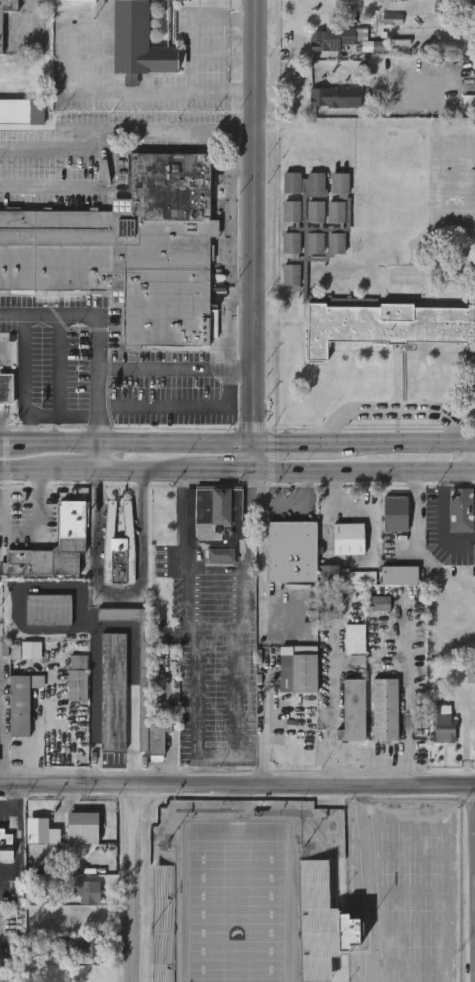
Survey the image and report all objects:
building: (78, 1)
building: (392, 19)
road: (209, 31)
building: (1, 32)
building: (336, 38)
building: (141, 42)
building: (375, 46)
road: (108, 95)
building: (323, 98)
building: (23, 112)
road: (126, 130)
road: (244, 165)
road: (77, 183)
building: (292, 183)
building: (316, 183)
building: (340, 183)
building: (292, 211)
building: (316, 212)
building: (336, 212)
road: (260, 221)
building: (291, 243)
building: (315, 243)
building: (336, 244)
road: (228, 250)
building: (129, 252)
building: (291, 275)
road: (244, 289)
building: (389, 327)
road: (94, 343)
road: (59, 364)
road: (176, 369)
building: (6, 388)
road: (23, 399)
building: (462, 401)
road: (178, 406)
road: (129, 443)
traffic signals: (259, 443)
road: (292, 443)
road: (400, 443)
road: (259, 456)
road: (28, 468)
road: (76, 468)
road: (143, 468)
road: (226, 469)
traffic signals: (259, 469)
road: (367, 469)
road: (428, 493)
road: (298, 505)
building: (460, 509)
road: (415, 510)
building: (218, 511)
building: (395, 513)
road: (441, 520)
road: (40, 525)
building: (349, 538)
building: (53, 546)
building: (118, 547)
building: (296, 553)
building: (473, 554)
building: (221, 555)
building: (397, 575)
building: (358, 578)
road: (118, 591)
building: (380, 604)
building: (48, 609)
road: (66, 628)
building: (353, 644)
building: (31, 650)
building: (295, 670)
building: (470, 675)
building: (77, 679)
building: (141, 681)
road: (133, 686)
building: (110, 692)
building: (21, 702)
building: (385, 709)
building: (354, 711)
building: (441, 723)
road: (1, 724)
road: (263, 729)
road: (217, 756)
road: (237, 785)
road: (13, 801)
building: (82, 828)
building: (5, 845)
road: (2, 880)
road: (137, 882)
building: (85, 890)
park: (302, 892)
park: (239, 903)
building: (321, 923)
building: (0, 937)
building: (78, 946)
building: (8, 974)

